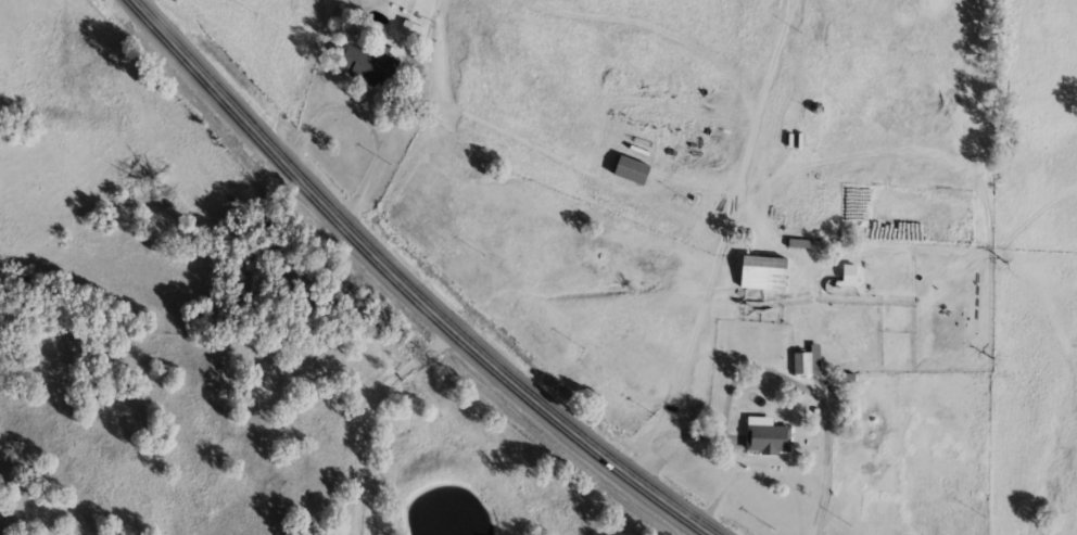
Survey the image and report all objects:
building: (367, 62)
road: (371, 124)
road: (752, 166)
building: (629, 167)
building: (760, 269)
building: (847, 271)
road: (408, 286)
building: (799, 360)
building: (763, 433)

